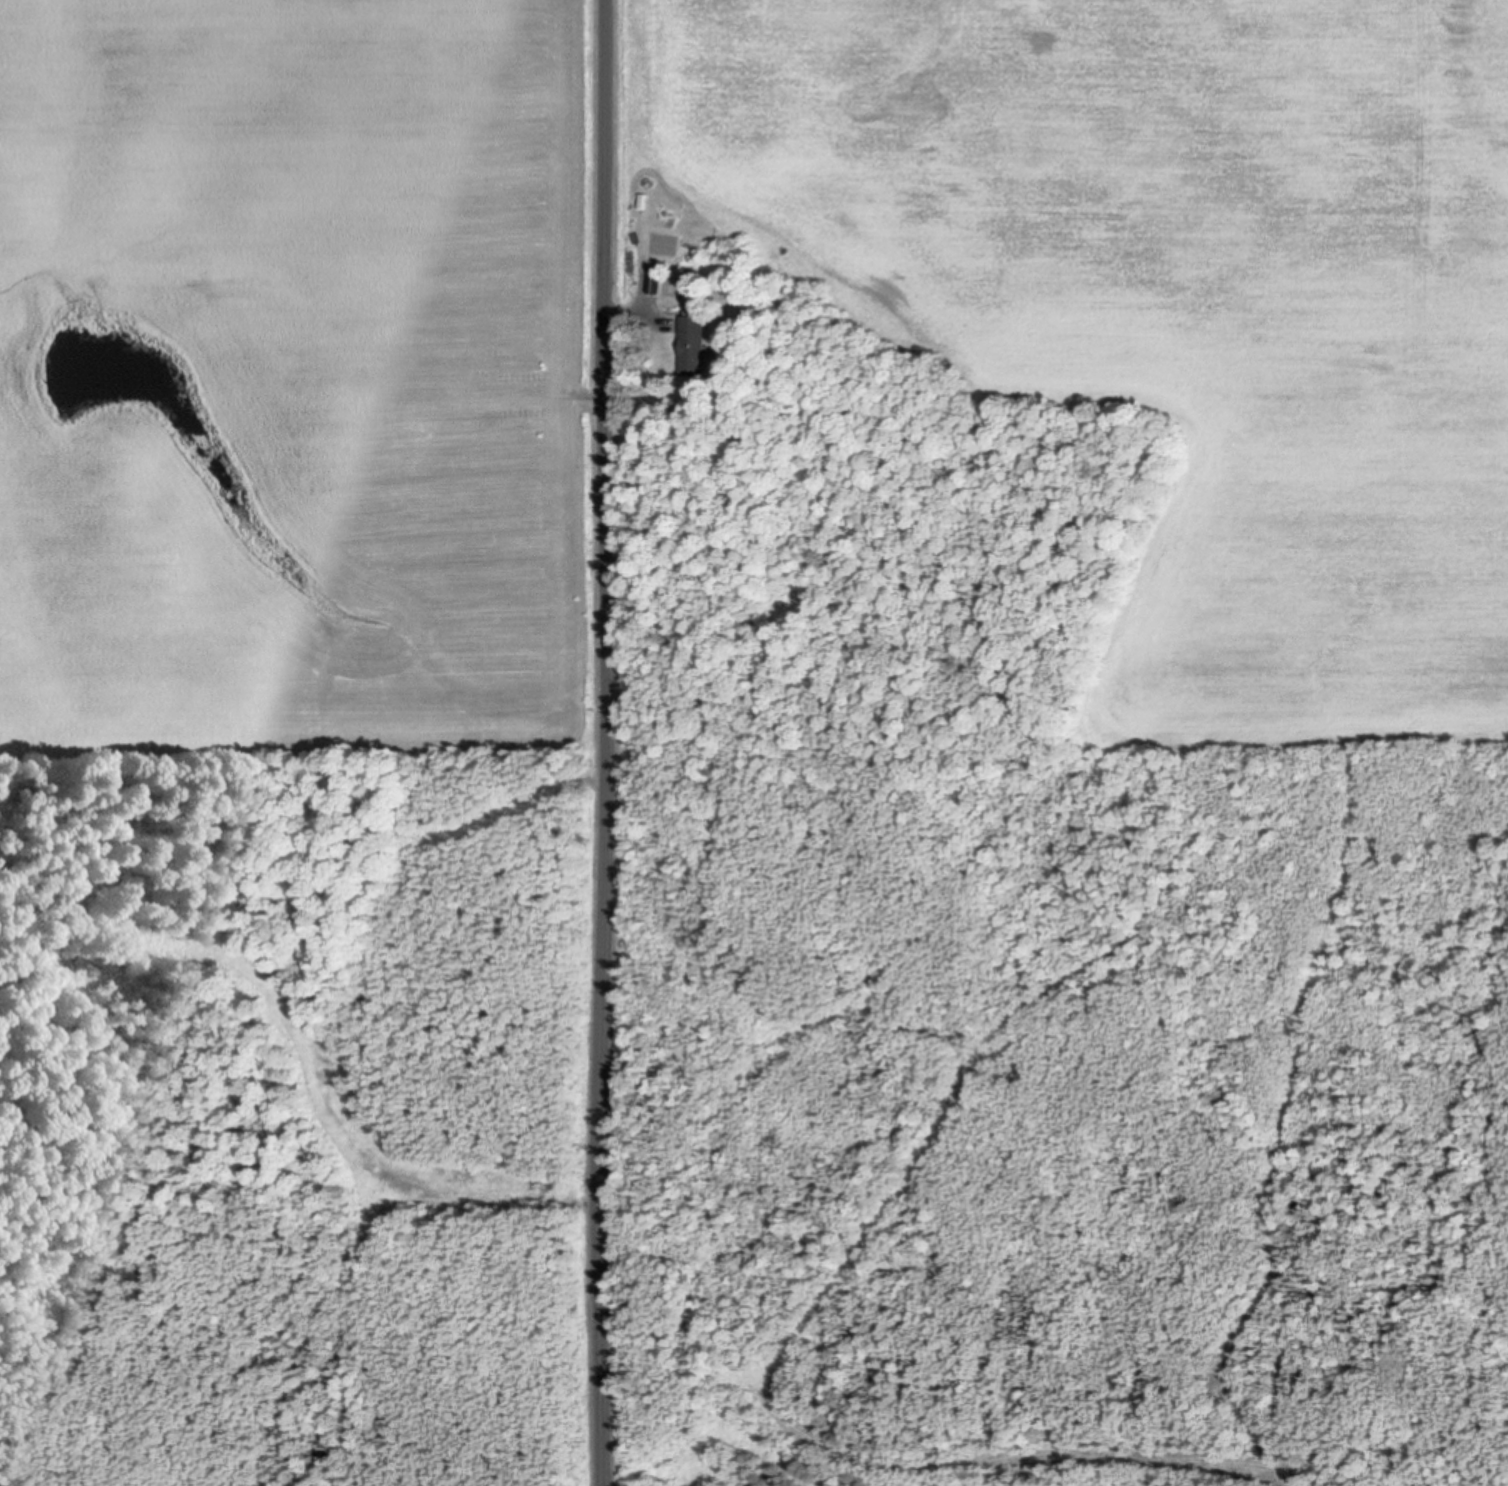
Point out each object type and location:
building: (695, 340)
road: (602, 742)

